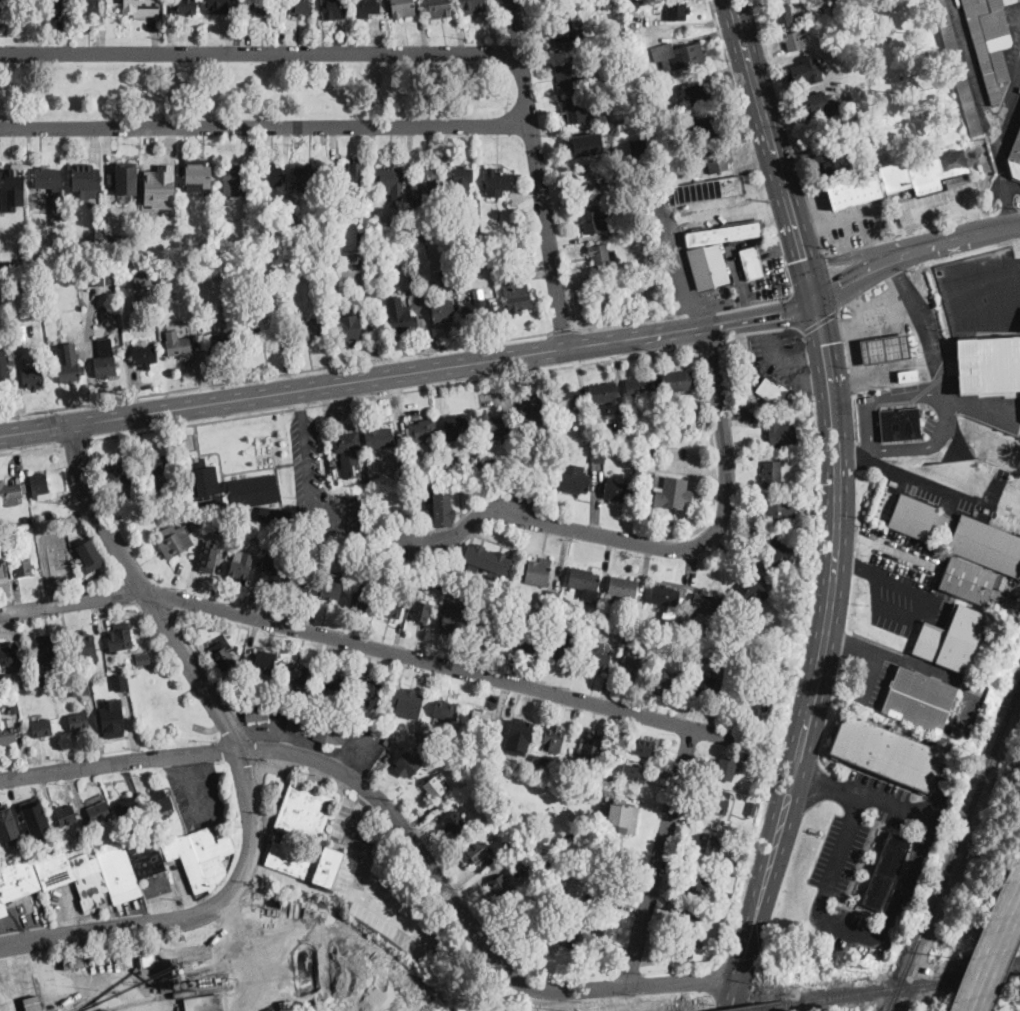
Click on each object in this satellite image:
building: (168, 1)
road: (766, 1)
building: (218, 6)
building: (263, 6)
building: (297, 6)
building: (2, 7)
building: (48, 7)
building: (88, 7)
building: (141, 7)
building: (184, 7)
building: (336, 7)
building: (473, 7)
building: (367, 8)
building: (403, 8)
building: (440, 8)
building: (676, 10)
building: (784, 16)
building: (562, 28)
building: (794, 40)
building: (990, 42)
road: (259, 51)
building: (679, 54)
building: (957, 67)
building: (804, 71)
building: (570, 75)
road: (731, 79)
park: (248, 91)
building: (699, 92)
building: (817, 105)
building: (575, 110)
road: (264, 125)
building: (708, 129)
building: (583, 144)
road: (774, 153)
building: (718, 161)
building: (1015, 161)
building: (833, 163)
building: (924, 171)
road: (537, 174)
building: (195, 175)
building: (269, 176)
building: (127, 177)
building: (308, 177)
building: (349, 177)
building: (234, 179)
building: (156, 180)
building: (462, 180)
building: (85, 181)
building: (498, 181)
building: (588, 182)
building: (391, 183)
building: (12, 187)
building: (427, 187)
building: (52, 189)
building: (709, 189)
building: (669, 190)
building: (855, 190)
building: (447, 199)
building: (157, 203)
road: (857, 213)
road: (671, 216)
building: (207, 220)
building: (592, 221)
building: (446, 231)
building: (724, 233)
building: (484, 234)
building: (115, 236)
building: (373, 236)
building: (635, 237)
building: (3, 238)
building: (362, 239)
building: (416, 239)
building: (184, 241)
building: (298, 244)
building: (247, 248)
road: (911, 250)
road: (804, 253)
building: (601, 255)
road: (848, 257)
building: (355, 261)
building: (38, 262)
building: (751, 263)
building: (2, 264)
building: (708, 265)
building: (498, 268)
building: (313, 276)
building: (99, 277)
building: (447, 277)
building: (505, 277)
road: (832, 278)
building: (142, 279)
building: (460, 279)
building: (412, 280)
parking lot: (765, 282)
building: (462, 287)
building: (518, 296)
parking lot: (716, 297)
building: (602, 298)
building: (251, 299)
building: (140, 303)
traffic signals: (817, 307)
building: (478, 308)
building: (258, 309)
road: (684, 312)
building: (444, 313)
road: (797, 314)
building: (404, 320)
road: (820, 320)
road: (922, 324)
building: (350, 328)
building: (310, 329)
road: (562, 330)
building: (17, 331)
road: (670, 332)
road: (760, 332)
building: (265, 336)
building: (221, 343)
road: (710, 343)
building: (179, 346)
building: (887, 348)
building: (144, 354)
road: (782, 354)
parking lot: (783, 357)
building: (105, 359)
building: (68, 362)
building: (989, 364)
building: (4, 365)
road: (274, 374)
building: (32, 375)
building: (908, 376)
road: (354, 380)
building: (678, 380)
building: (756, 381)
building: (640, 387)
road: (395, 391)
building: (772, 392)
road: (937, 396)
building: (567, 398)
building: (606, 398)
building: (675, 406)
road: (117, 416)
building: (532, 420)
building: (659, 420)
building: (900, 424)
building: (493, 425)
building: (457, 426)
building: (423, 430)
road: (24, 431)
building: (780, 432)
building: (379, 437)
road: (75, 440)
building: (559, 442)
building: (631, 443)
building: (647, 444)
building: (516, 445)
road: (30, 448)
building: (346, 451)
building: (648, 452)
road: (853, 452)
building: (436, 453)
building: (598, 455)
building: (505, 461)
building: (472, 463)
building: (490, 463)
building: (159, 464)
building: (649, 465)
road: (308, 471)
building: (120, 473)
building: (772, 474)
building: (402, 475)
building: (574, 480)
road: (927, 482)
parking lot: (319, 484)
building: (39, 486)
building: (228, 487)
building: (617, 489)
building: (670, 491)
building: (11, 493)
building: (443, 503)
road: (711, 512)
building: (781, 513)
building: (49, 515)
building: (275, 515)
building: (913, 517)
building: (1, 521)
building: (209, 525)
building: (221, 530)
road: (712, 534)
building: (252, 536)
building: (173, 538)
building: (270, 539)
building: (358, 540)
building: (804, 543)
building: (987, 545)
road: (886, 547)
building: (88, 551)
parking lot: (901, 552)
building: (773, 555)
building: (210, 557)
building: (346, 559)
building: (487, 560)
building: (56, 562)
building: (23, 566)
building: (240, 568)
building: (2, 572)
building: (271, 572)
building: (539, 572)
building: (968, 580)
building: (1000, 581)
building: (410, 582)
building: (300, 583)
building: (585, 583)
building: (440, 585)
building: (332, 586)
building: (622, 589)
building: (747, 591)
road: (926, 595)
building: (552, 597)
parking lot: (902, 598)
building: (469, 599)
building: (667, 600)
building: (361, 601)
building: (706, 604)
building: (392, 609)
building: (422, 611)
building: (545, 613)
building: (554, 613)
building: (598, 616)
building: (453, 622)
building: (647, 624)
building: (600, 626)
building: (486, 628)
building: (525, 636)
building: (120, 637)
building: (630, 637)
building: (736, 637)
building: (951, 638)
road: (871, 642)
building: (85, 645)
building: (240, 648)
building: (560, 648)
road: (379, 649)
building: (47, 651)
building: (10, 653)
building: (689, 653)
building: (222, 656)
building: (143, 657)
building: (599, 657)
building: (265, 661)
building: (128, 662)
road: (817, 663)
building: (632, 667)
parking lot: (870, 669)
building: (74, 670)
building: (779, 670)
building: (298, 675)
building: (43, 677)
building: (672, 679)
building: (6, 681)
building: (119, 681)
building: (334, 682)
building: (232, 685)
building: (704, 686)
building: (80, 687)
building: (47, 688)
building: (368, 691)
building: (919, 700)
building: (754, 701)
building: (406, 702)
building: (316, 705)
building: (14, 709)
building: (449, 711)
building: (256, 712)
building: (111, 717)
building: (481, 720)
building: (79, 721)
building: (377, 721)
building: (315, 725)
building: (42, 728)
building: (7, 731)
building: (518, 733)
building: (956, 733)
building: (553, 739)
building: (642, 746)
building: (438, 748)
building: (592, 749)
building: (886, 753)
road: (240, 758)
building: (540, 759)
building: (406, 765)
building: (727, 770)
building: (580, 772)
building: (636, 773)
building: (609, 776)
building: (754, 786)
building: (434, 788)
building: (599, 790)
building: (759, 794)
building: (159, 801)
building: (719, 801)
building: (126, 807)
building: (752, 808)
building: (99, 812)
building: (66, 815)
building: (619, 816)
building: (36, 821)
road: (397, 822)
building: (728, 823)
building: (454, 824)
road: (355, 825)
building: (7, 828)
building: (79, 833)
building: (310, 836)
building: (570, 837)
railway: (960, 837)
building: (505, 839)
building: (706, 843)
building: (478, 851)
building: (528, 854)
building: (200, 857)
road: (658, 857)
parking lot: (854, 859)
building: (737, 864)
building: (103, 871)
building: (886, 872)
building: (697, 880)
building: (17, 883)
building: (501, 886)
building: (606, 892)
building: (723, 897)
road: (898, 903)
building: (529, 911)
road: (395, 916)
building: (688, 917)
building: (603, 935)
building: (566, 937)
building: (676, 948)
building: (716, 949)
road: (995, 951)
road: (248, 954)
building: (148, 960)
building: (73, 962)
building: (177, 969)
building: (220, 981)
building: (192, 983)
road: (93, 984)
building: (183, 985)
railway: (903, 985)
building: (176, 986)
building: (166, 987)
railway: (171, 996)
railway: (895, 998)
building: (0, 1001)
building: (32, 1003)
building: (207, 1003)
building: (287, 1005)
railway: (764, 1007)
building: (912, 1008)

